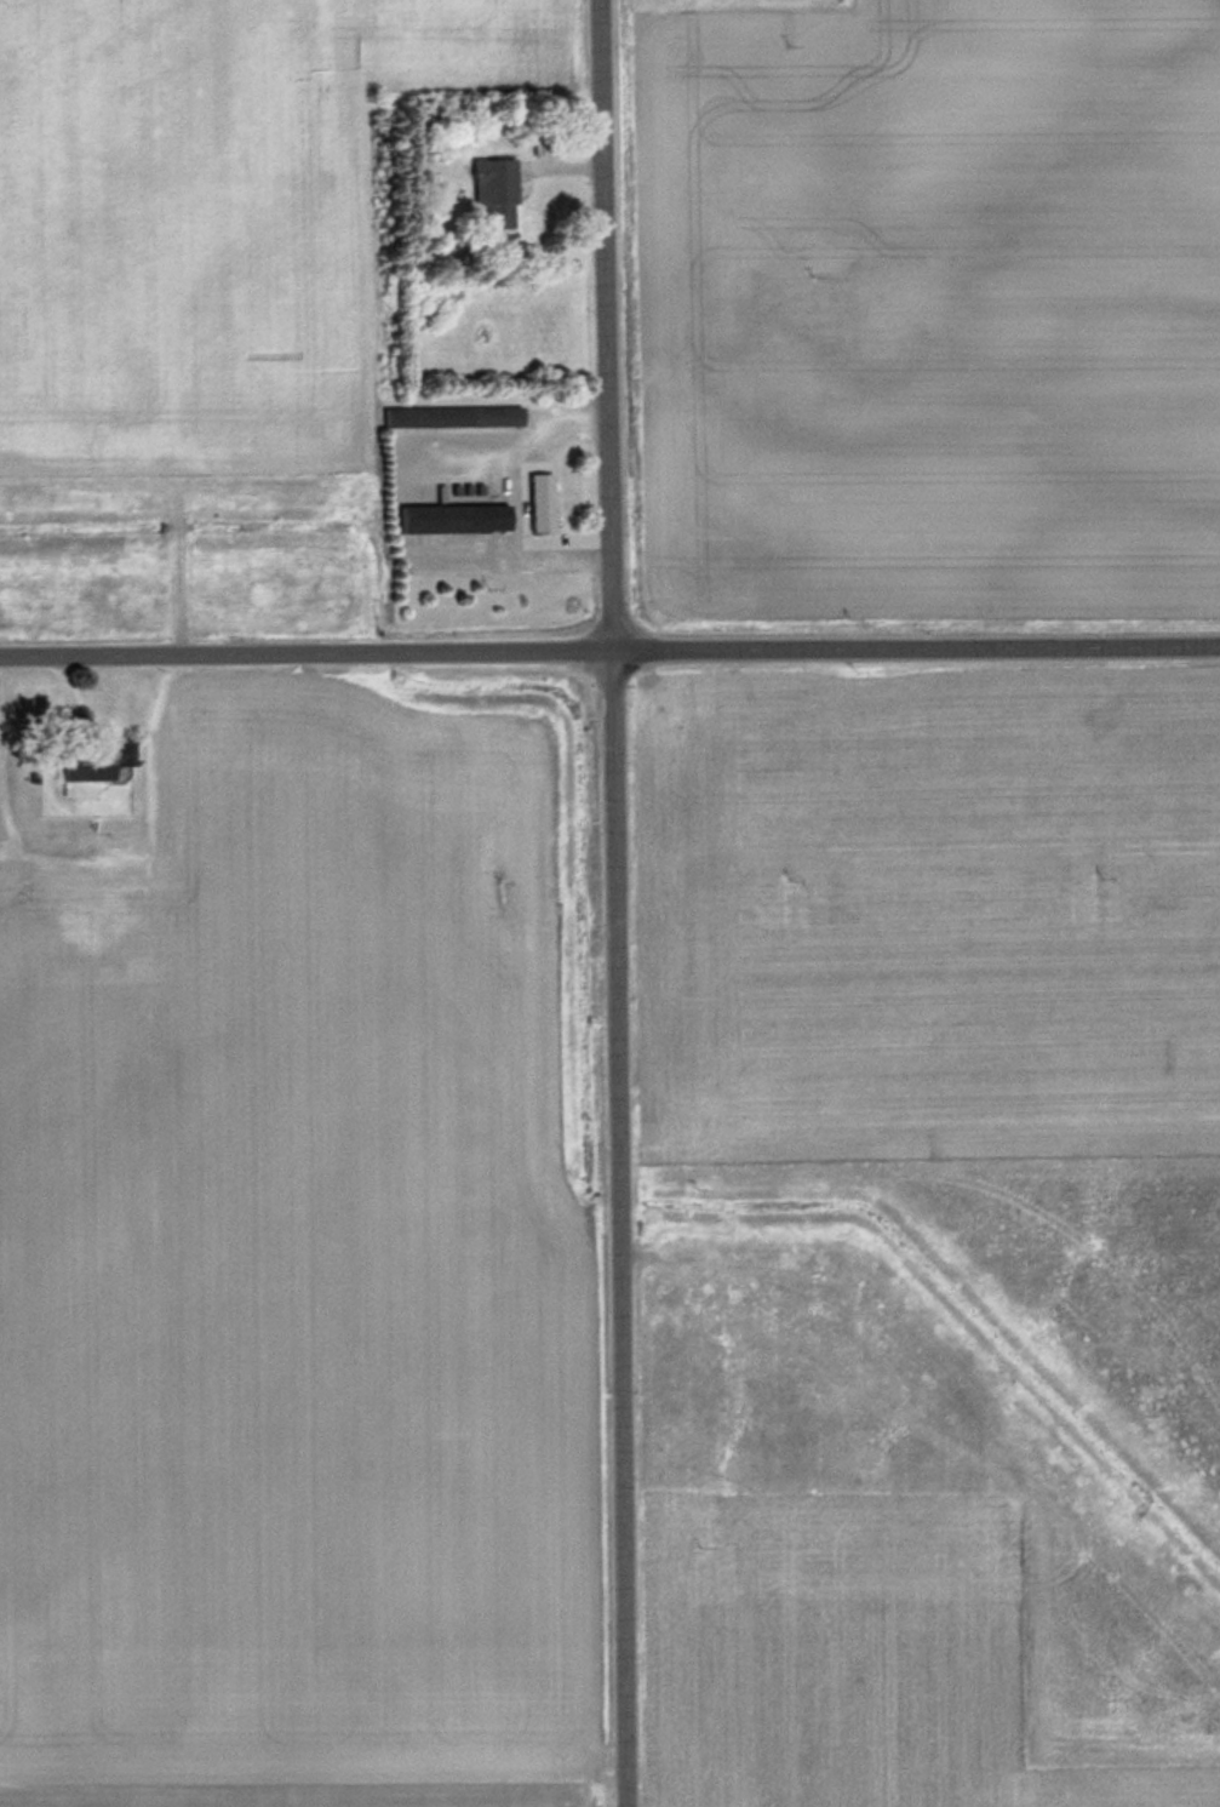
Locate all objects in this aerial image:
building: (487, 189)
road: (611, 325)
building: (445, 417)
building: (533, 507)
building: (446, 516)
road: (609, 651)
building: (92, 762)
building: (74, 885)
road: (622, 1229)

